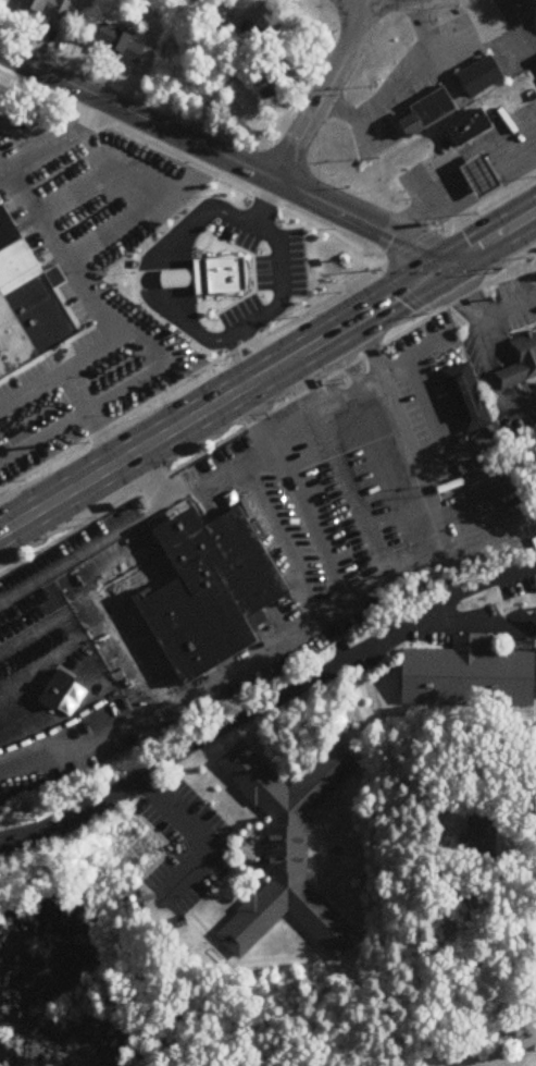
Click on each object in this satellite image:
road: (379, 3)
building: (47, 7)
building: (271, 25)
road: (487, 47)
building: (483, 77)
road: (397, 83)
building: (272, 87)
road: (324, 91)
building: (429, 113)
building: (469, 128)
road: (57, 138)
road: (223, 155)
road: (190, 164)
building: (482, 175)
road: (157, 194)
road: (262, 199)
road: (479, 243)
road: (278, 260)
traffic signals: (441, 267)
building: (212, 279)
road: (486, 280)
road: (401, 291)
road: (459, 291)
road: (159, 296)
building: (26, 304)
road: (504, 307)
road: (107, 316)
road: (267, 329)
road: (236, 334)
road: (424, 347)
road: (257, 348)
building: (520, 363)
road: (493, 379)
building: (466, 399)
road: (211, 405)
building: (16, 428)
road: (219, 441)
building: (376, 453)
road: (408, 455)
road: (222, 473)
road: (299, 488)
road: (162, 493)
building: (328, 527)
road: (1, 528)
road: (66, 562)
building: (210, 592)
road: (51, 620)
road: (535, 621)
road: (484, 625)
road: (134, 657)
road: (334, 664)
road: (238, 667)
building: (471, 676)
building: (59, 689)
road: (139, 782)
building: (482, 842)
building: (287, 851)

